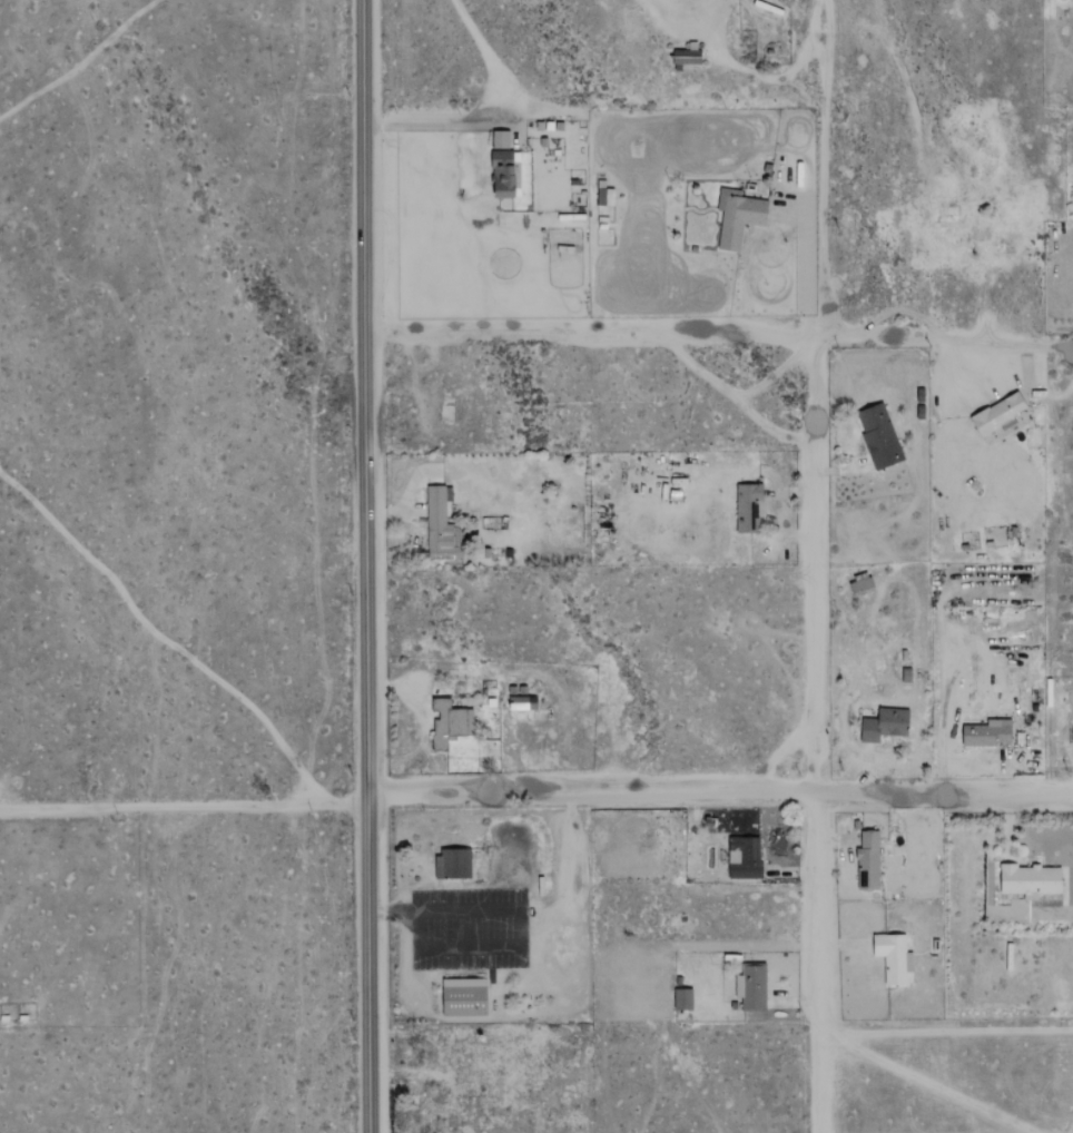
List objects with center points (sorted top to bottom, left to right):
road: (688, 23)
building: (686, 58)
road: (751, 75)
road: (504, 122)
building: (500, 140)
building: (503, 174)
building: (604, 194)
building: (738, 216)
road: (806, 274)
road: (718, 331)
road: (1025, 364)
building: (998, 413)
building: (878, 435)
road: (840, 471)
building: (748, 508)
building: (441, 524)
road: (815, 564)
road: (366, 566)
building: (522, 701)
building: (449, 722)
building: (885, 725)
building: (987, 732)
road: (1004, 761)
road: (1072, 779)
road: (721, 788)
road: (185, 802)
road: (1004, 825)
building: (744, 857)
building: (868, 859)
building: (453, 863)
building: (1028, 880)
road: (520, 922)
building: (893, 957)
building: (754, 986)
building: (464, 996)
building: (682, 998)

